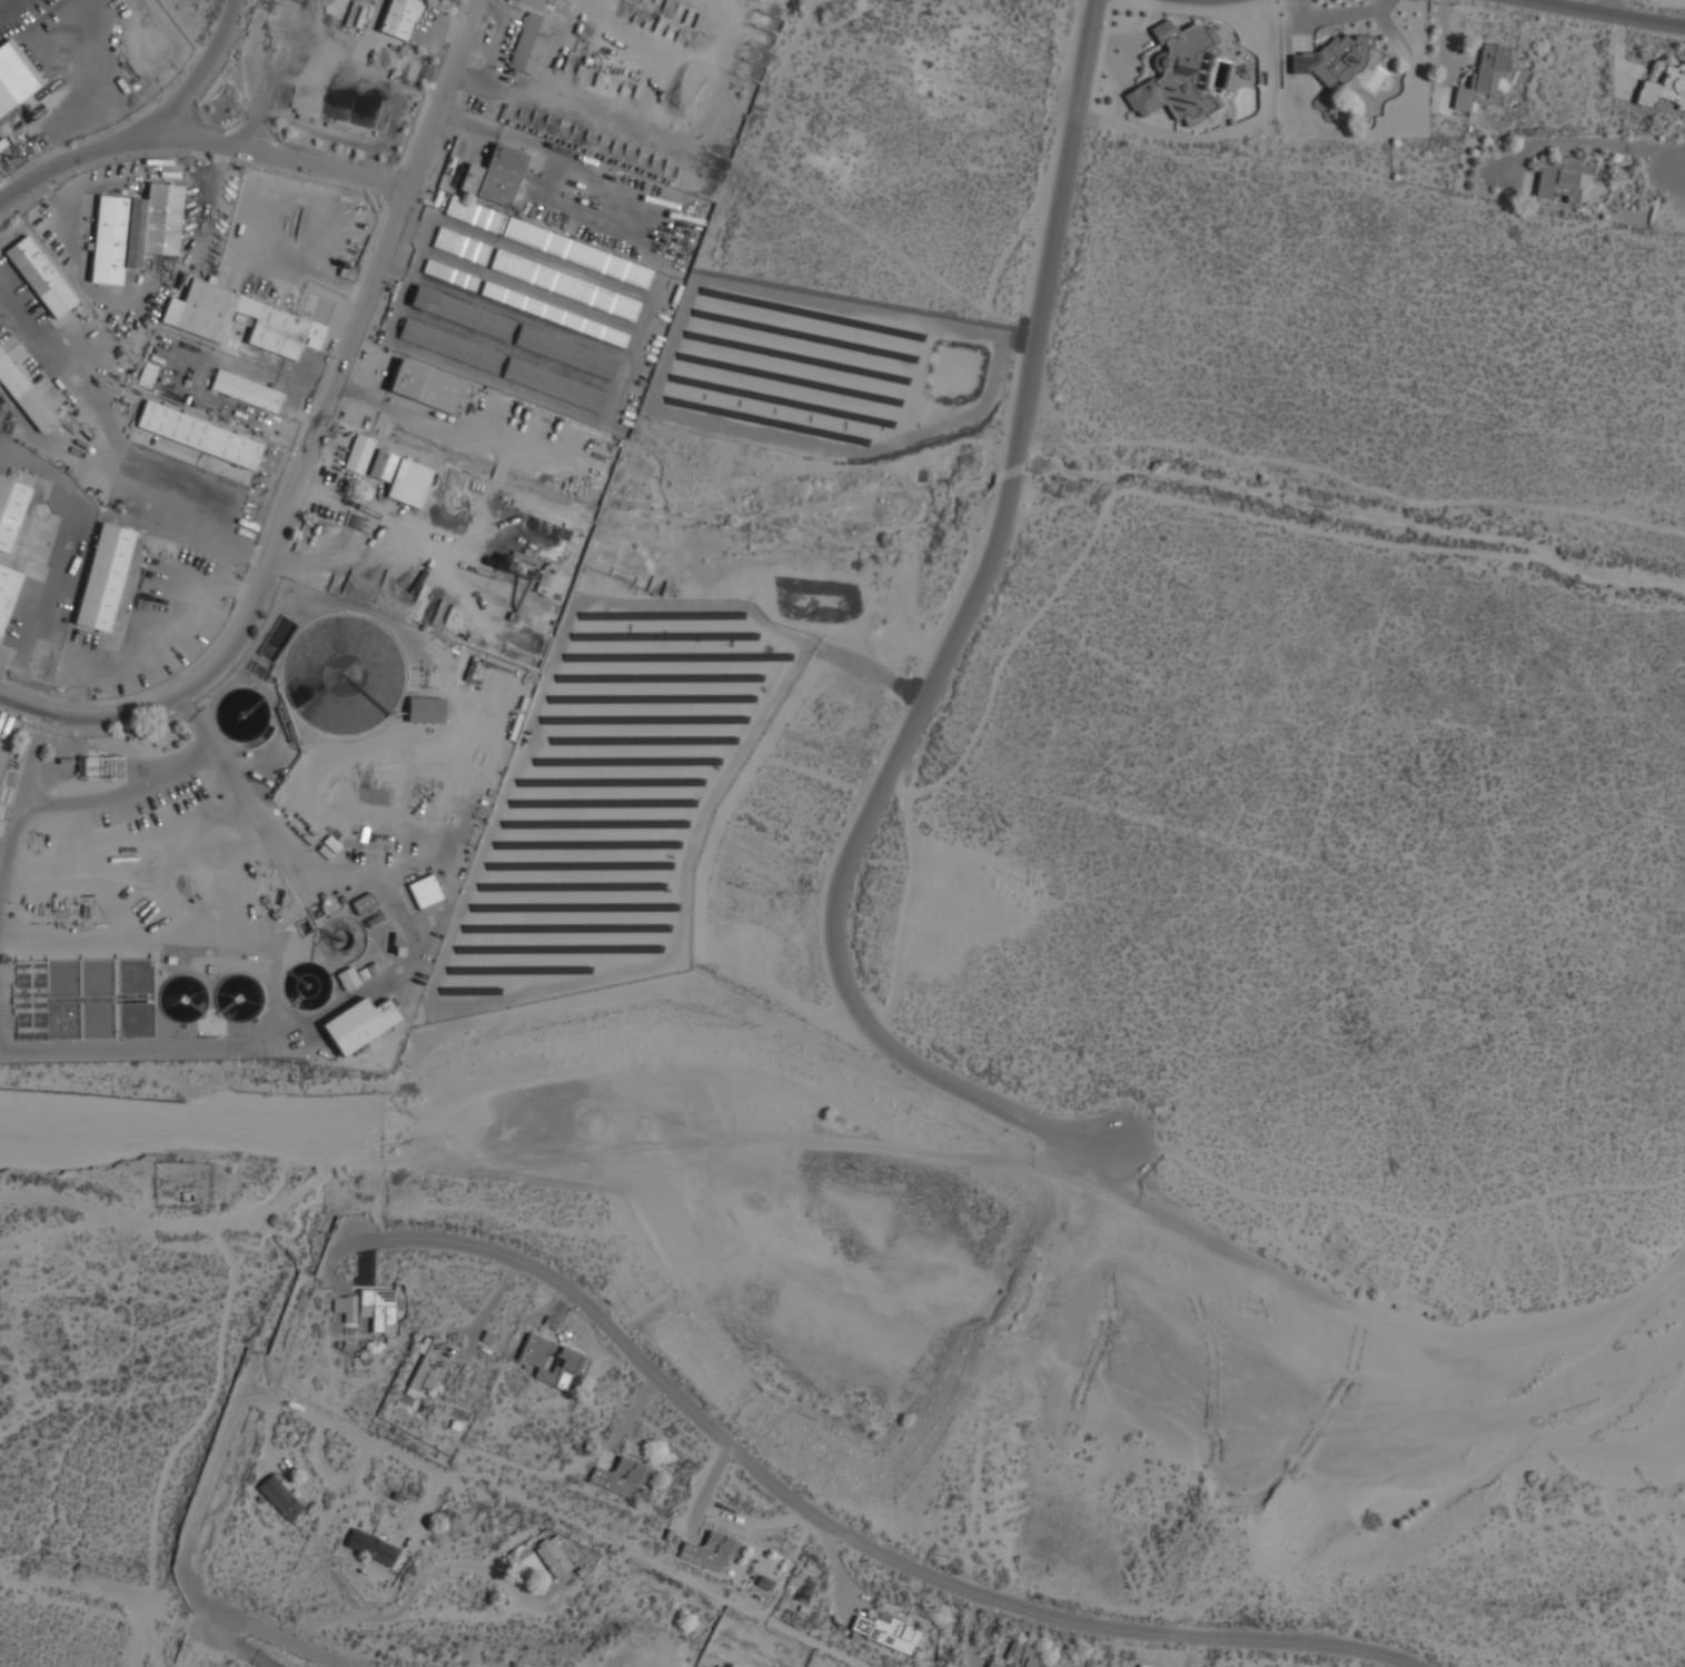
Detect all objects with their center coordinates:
road: (1607, 3)
road: (1626, 11)
building: (398, 18)
building: (529, 44)
building: (1330, 60)
road: (209, 66)
building: (1177, 75)
building: (14, 76)
building: (1484, 78)
building: (1664, 88)
road: (197, 135)
road: (1683, 140)
building: (494, 176)
building: (1562, 178)
building: (473, 214)
building: (133, 230)
building: (460, 246)
building: (39, 276)
building: (542, 310)
building: (462, 314)
building: (194, 320)
building: (449, 346)
building: (566, 353)
building: (554, 385)
building: (428, 387)
building: (246, 390)
building: (23, 395)
building: (198, 435)
road: (315, 441)
building: (358, 454)
building: (381, 467)
building: (408, 483)
building: (10, 510)
building: (103, 577)
building: (7, 591)
road: (948, 661)
building: (425, 710)
building: (93, 767)
building: (425, 891)
building: (363, 903)
building: (347, 979)
building: (358, 1024)
river: (856, 1224)
road: (407, 1234)
building: (349, 1309)
building: (379, 1309)
building: (566, 1362)
building: (426, 1368)
road: (329, 1425)
building: (621, 1477)
road: (206, 1485)
building: (280, 1498)
building: (370, 1547)
building: (711, 1551)
building: (553, 1558)
road: (902, 1565)
building: (765, 1584)
road: (259, 1633)
building: (886, 1633)
road: (231, 1647)
building: (1019, 1657)
building: (621, 1666)
building: (1143, 1666)

